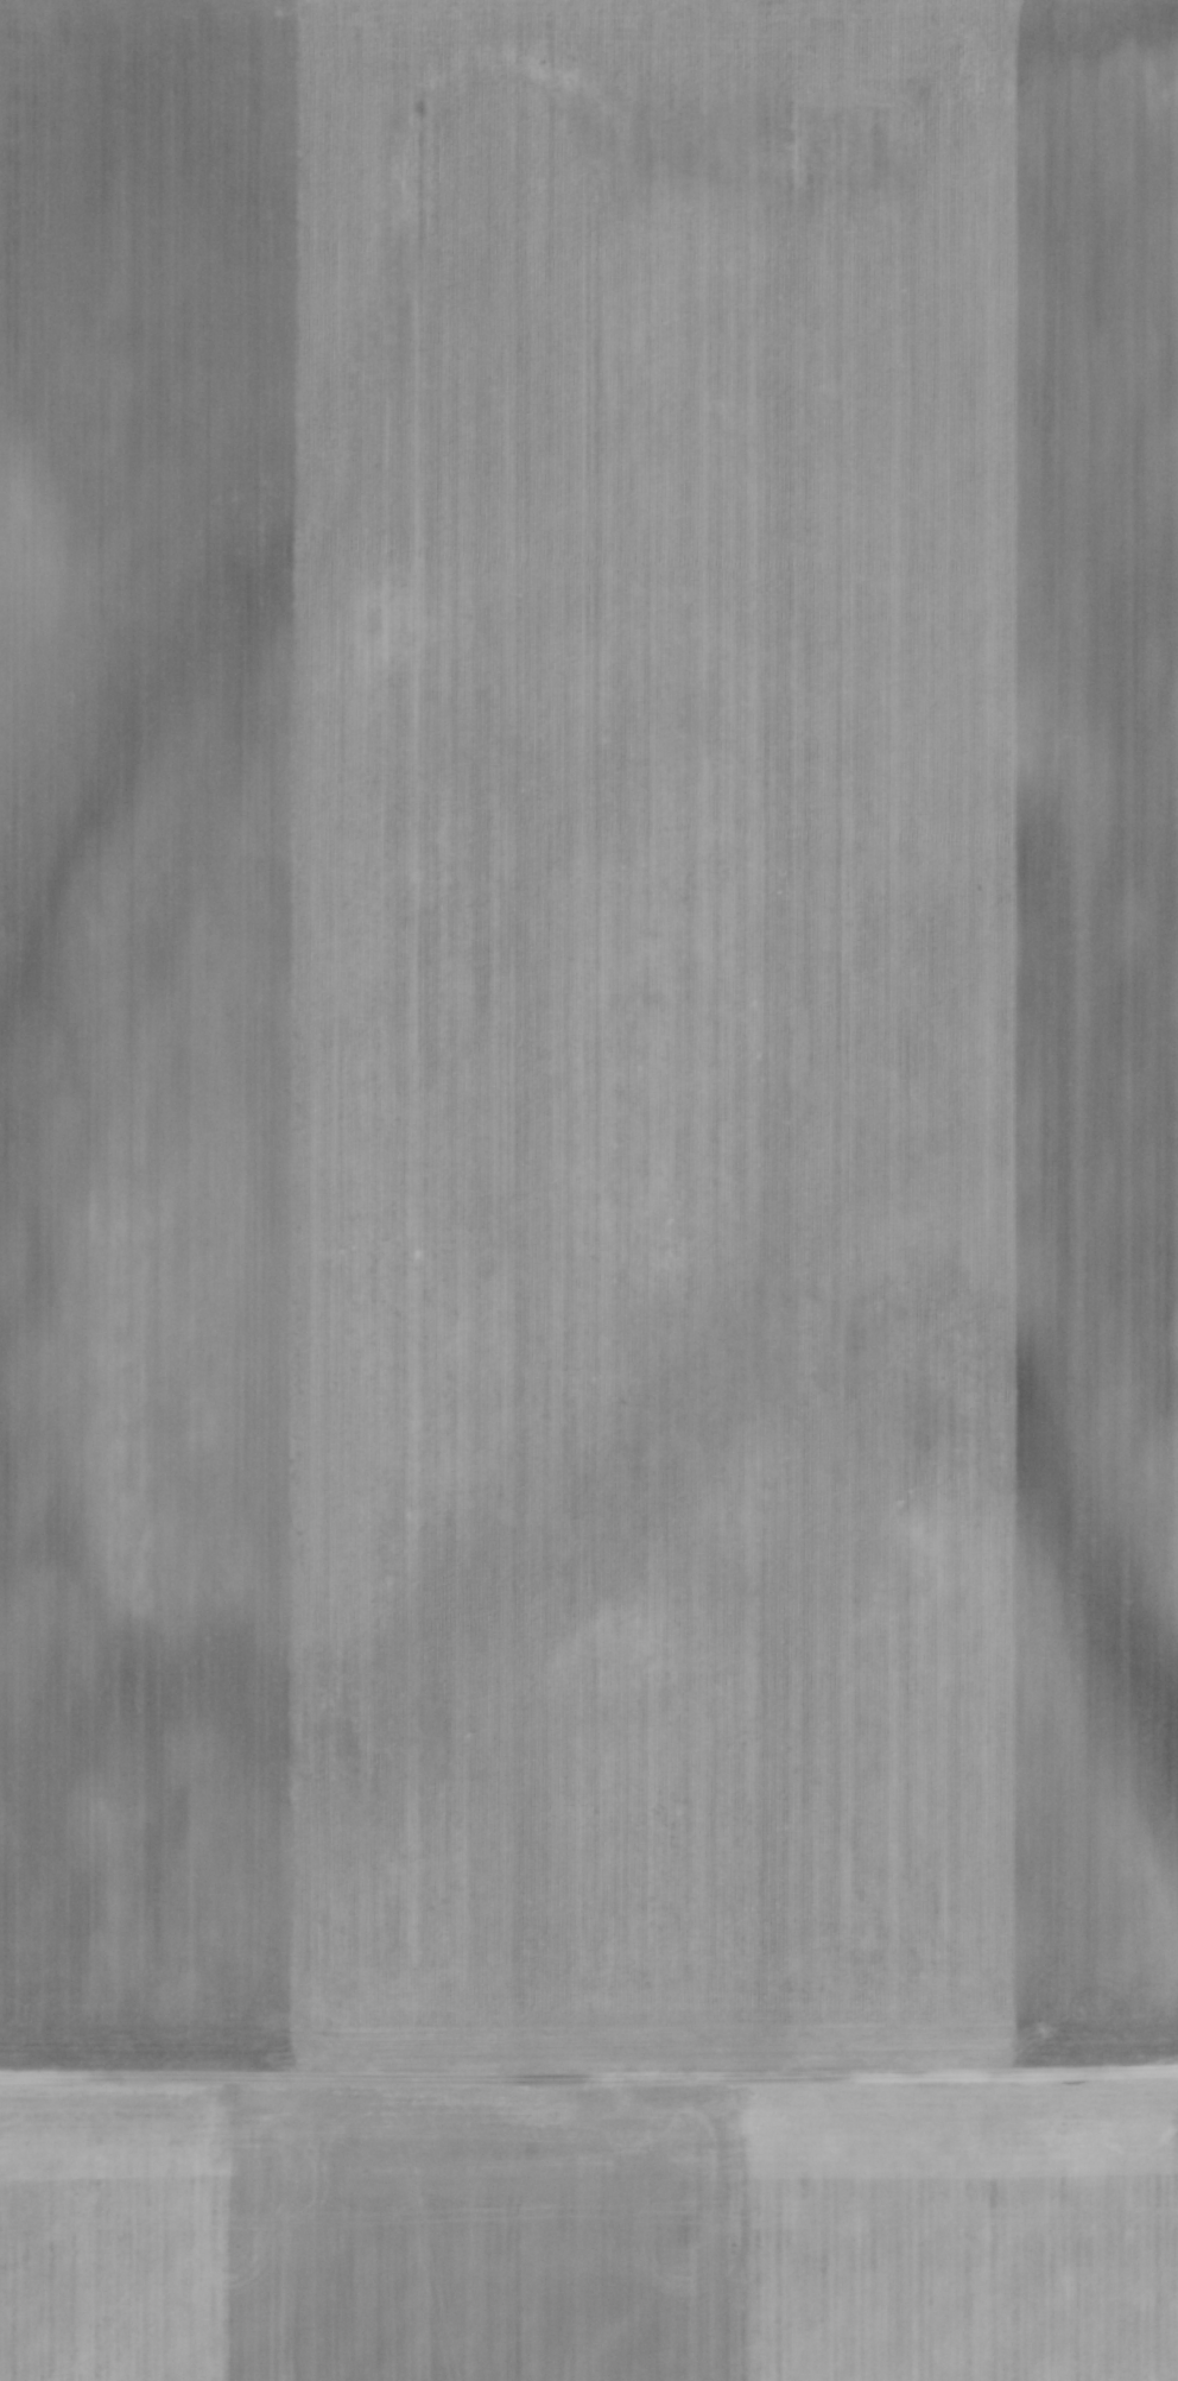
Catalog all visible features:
road: (589, 2083)

